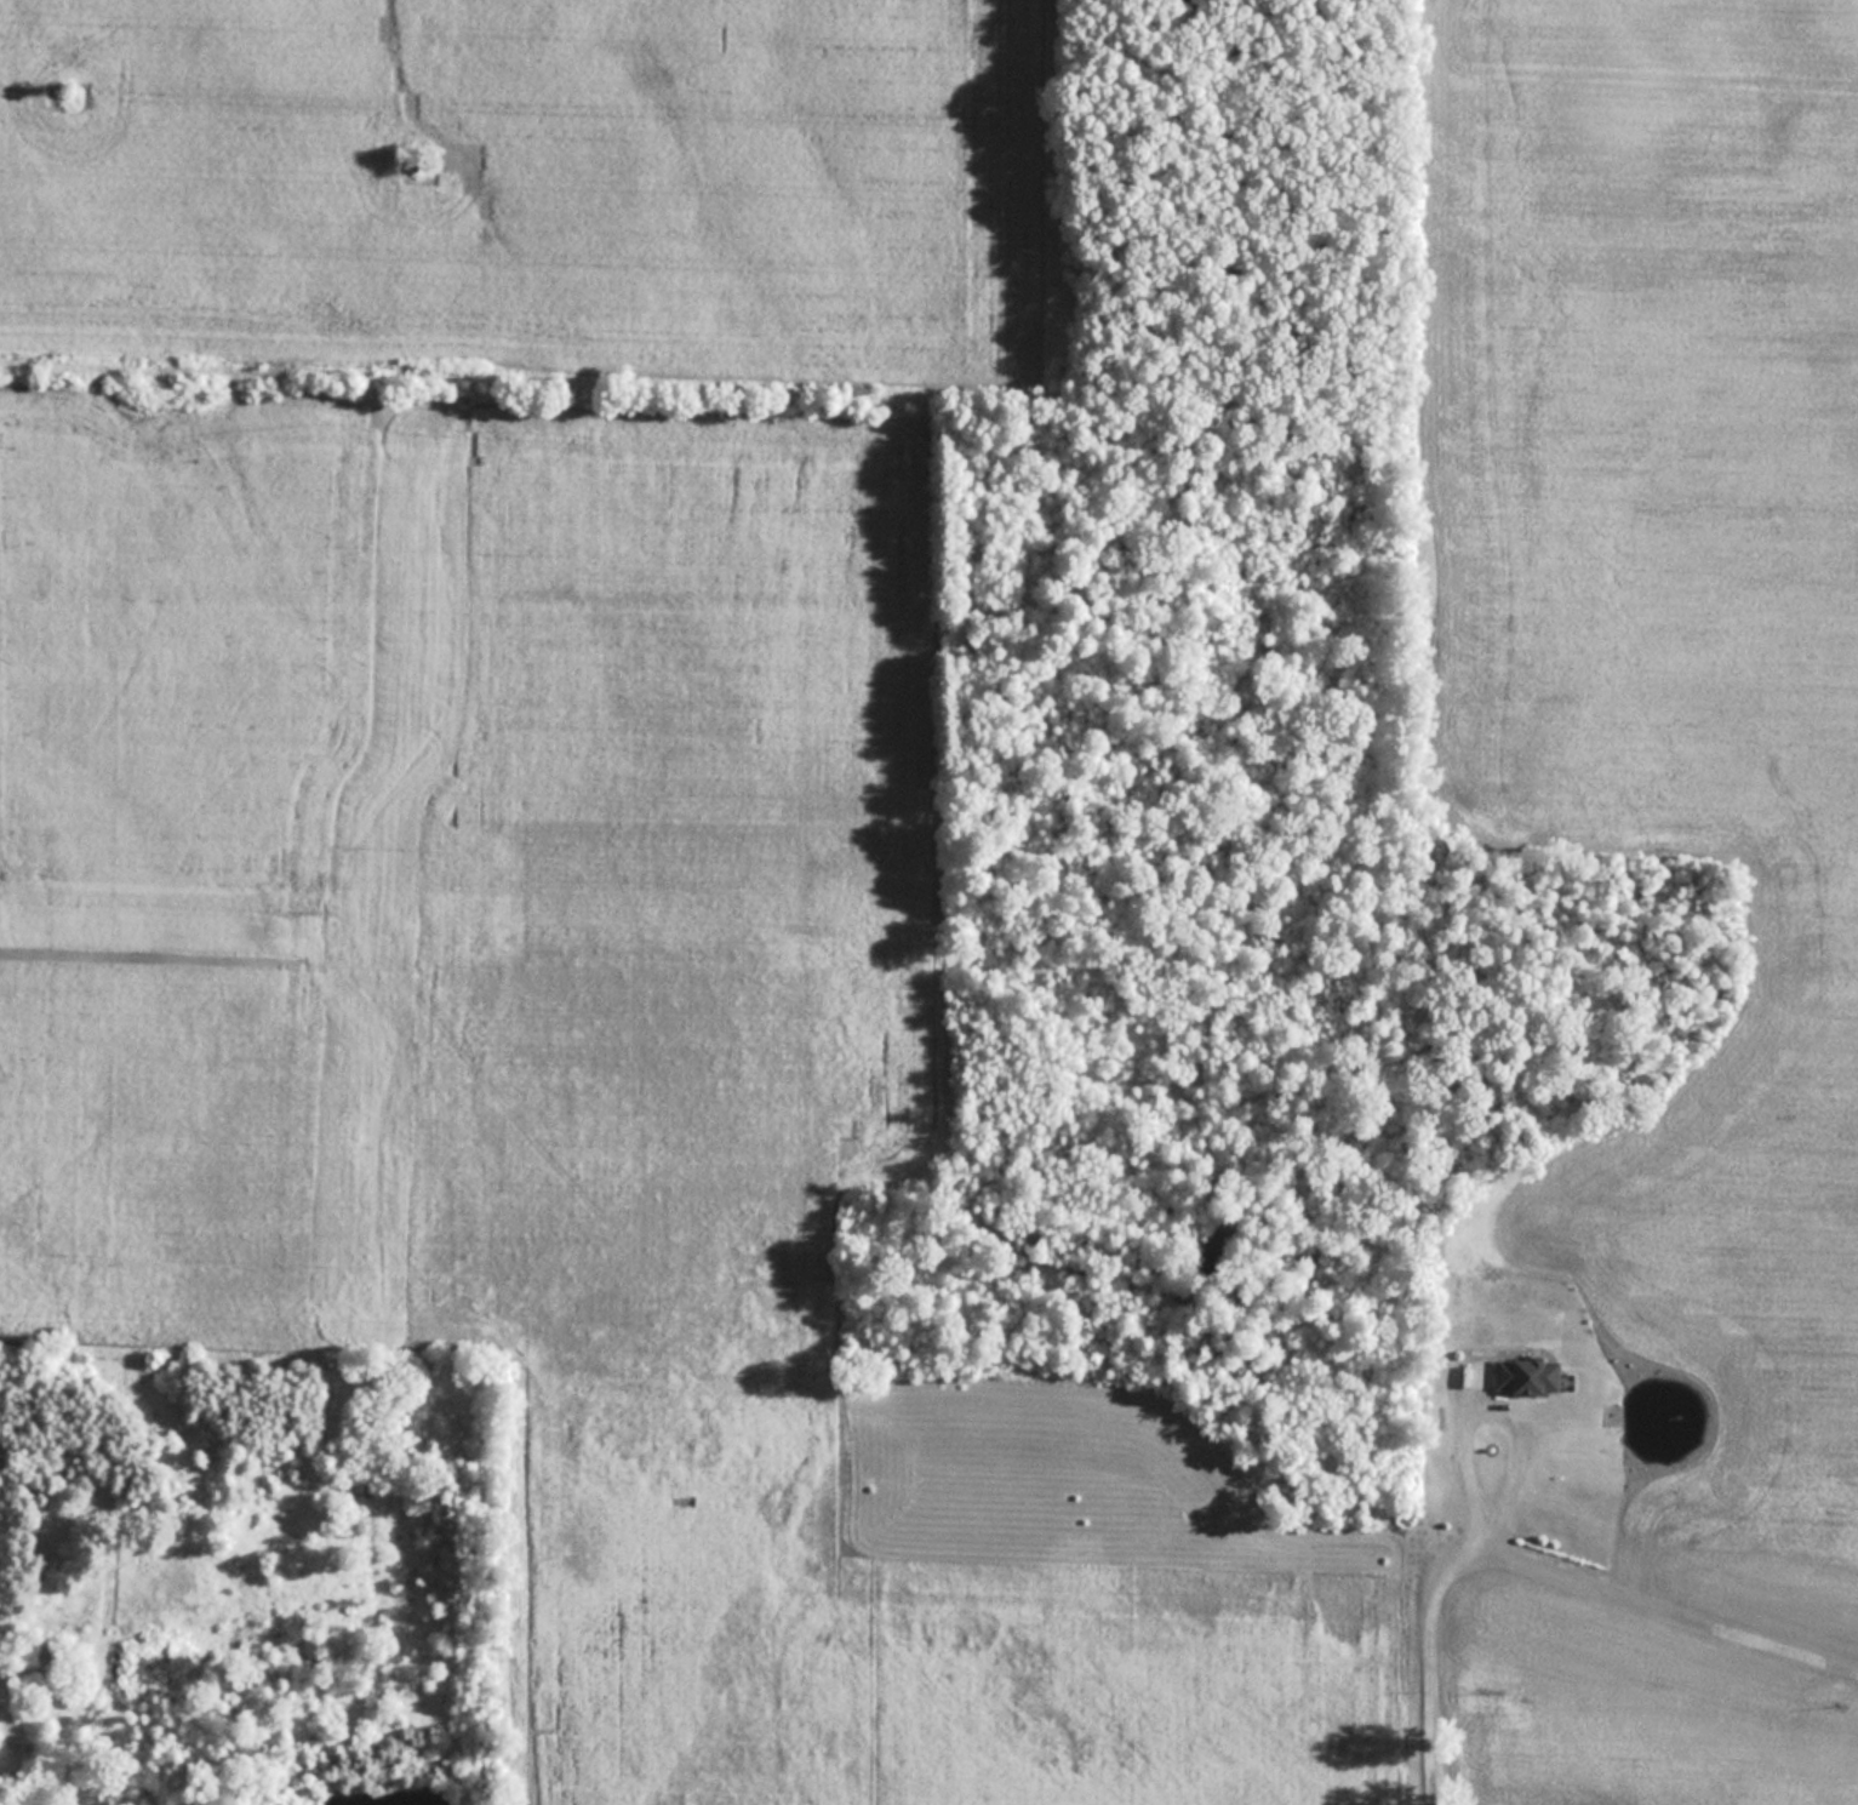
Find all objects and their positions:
building: (1528, 1375)
road: (1507, 1406)
road: (1498, 1541)
road: (1539, 1564)
building: (0, 1717)

